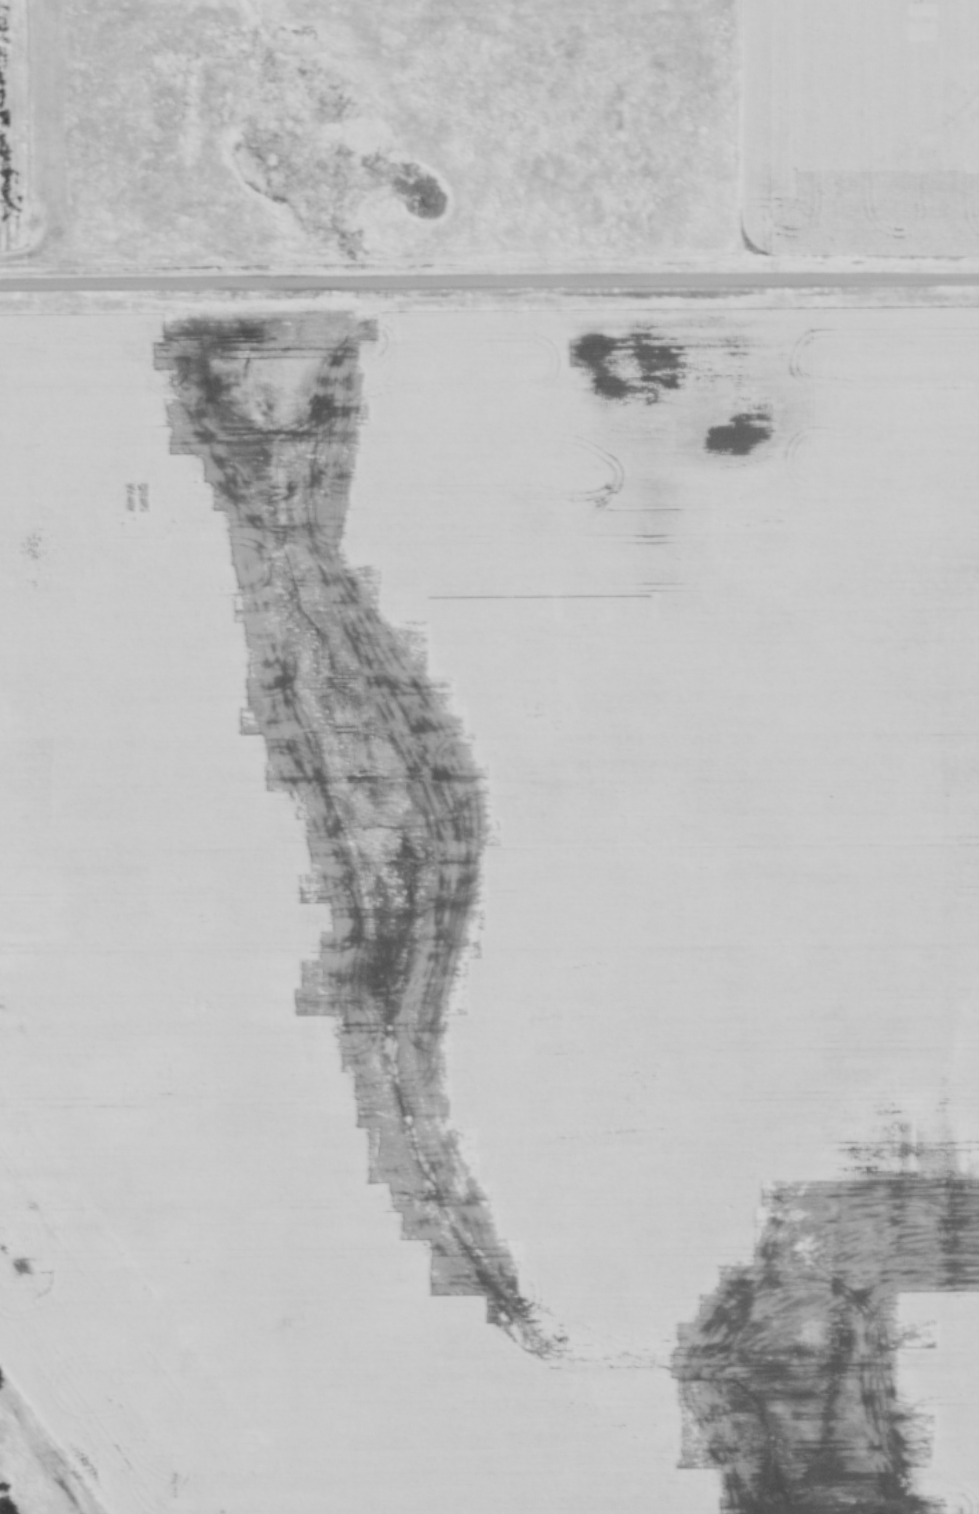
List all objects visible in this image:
road: (489, 287)

